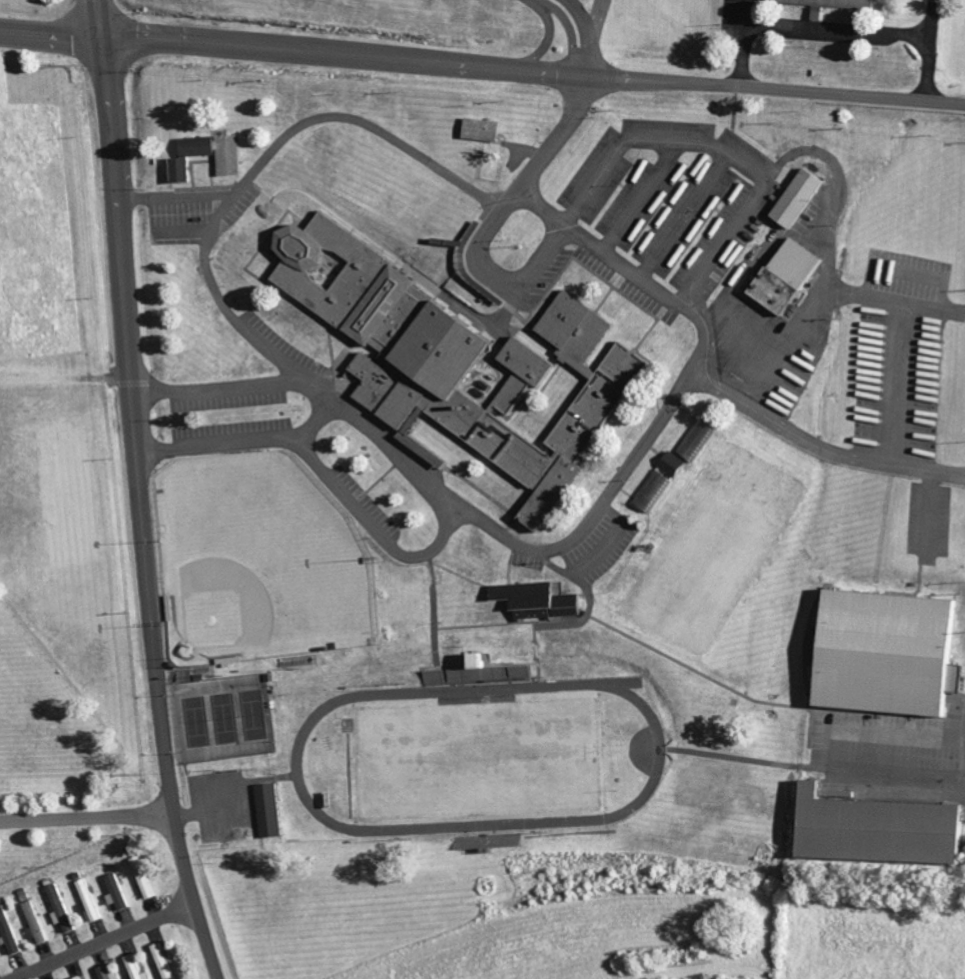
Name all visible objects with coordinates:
building: (833, 5)
road: (747, 12)
road: (596, 17)
road: (934, 19)
road: (568, 25)
road: (50, 30)
road: (545, 30)
road: (840, 31)
road: (586, 33)
road: (744, 54)
road: (533, 68)
road: (930, 70)
road: (365, 121)
building: (485, 129)
road: (562, 133)
building: (232, 166)
road: (838, 175)
road: (588, 192)
road: (512, 197)
building: (802, 198)
road: (563, 218)
road: (207, 241)
building: (792, 276)
road: (785, 342)
building: (457, 354)
road: (315, 421)
building: (700, 440)
road: (821, 448)
road: (641, 450)
building: (676, 464)
building: (656, 491)
road: (142, 492)
road: (447, 520)
building: (540, 601)
building: (893, 653)
building: (480, 672)
building: (521, 673)
building: (437, 678)
building: (270, 811)
road: (88, 815)
building: (884, 830)
building: (146, 878)
building: (119, 892)
building: (92, 902)
building: (64, 910)
building: (38, 924)
road: (104, 939)
building: (166, 961)
building: (138, 968)
building: (112, 972)
building: (81, 978)

